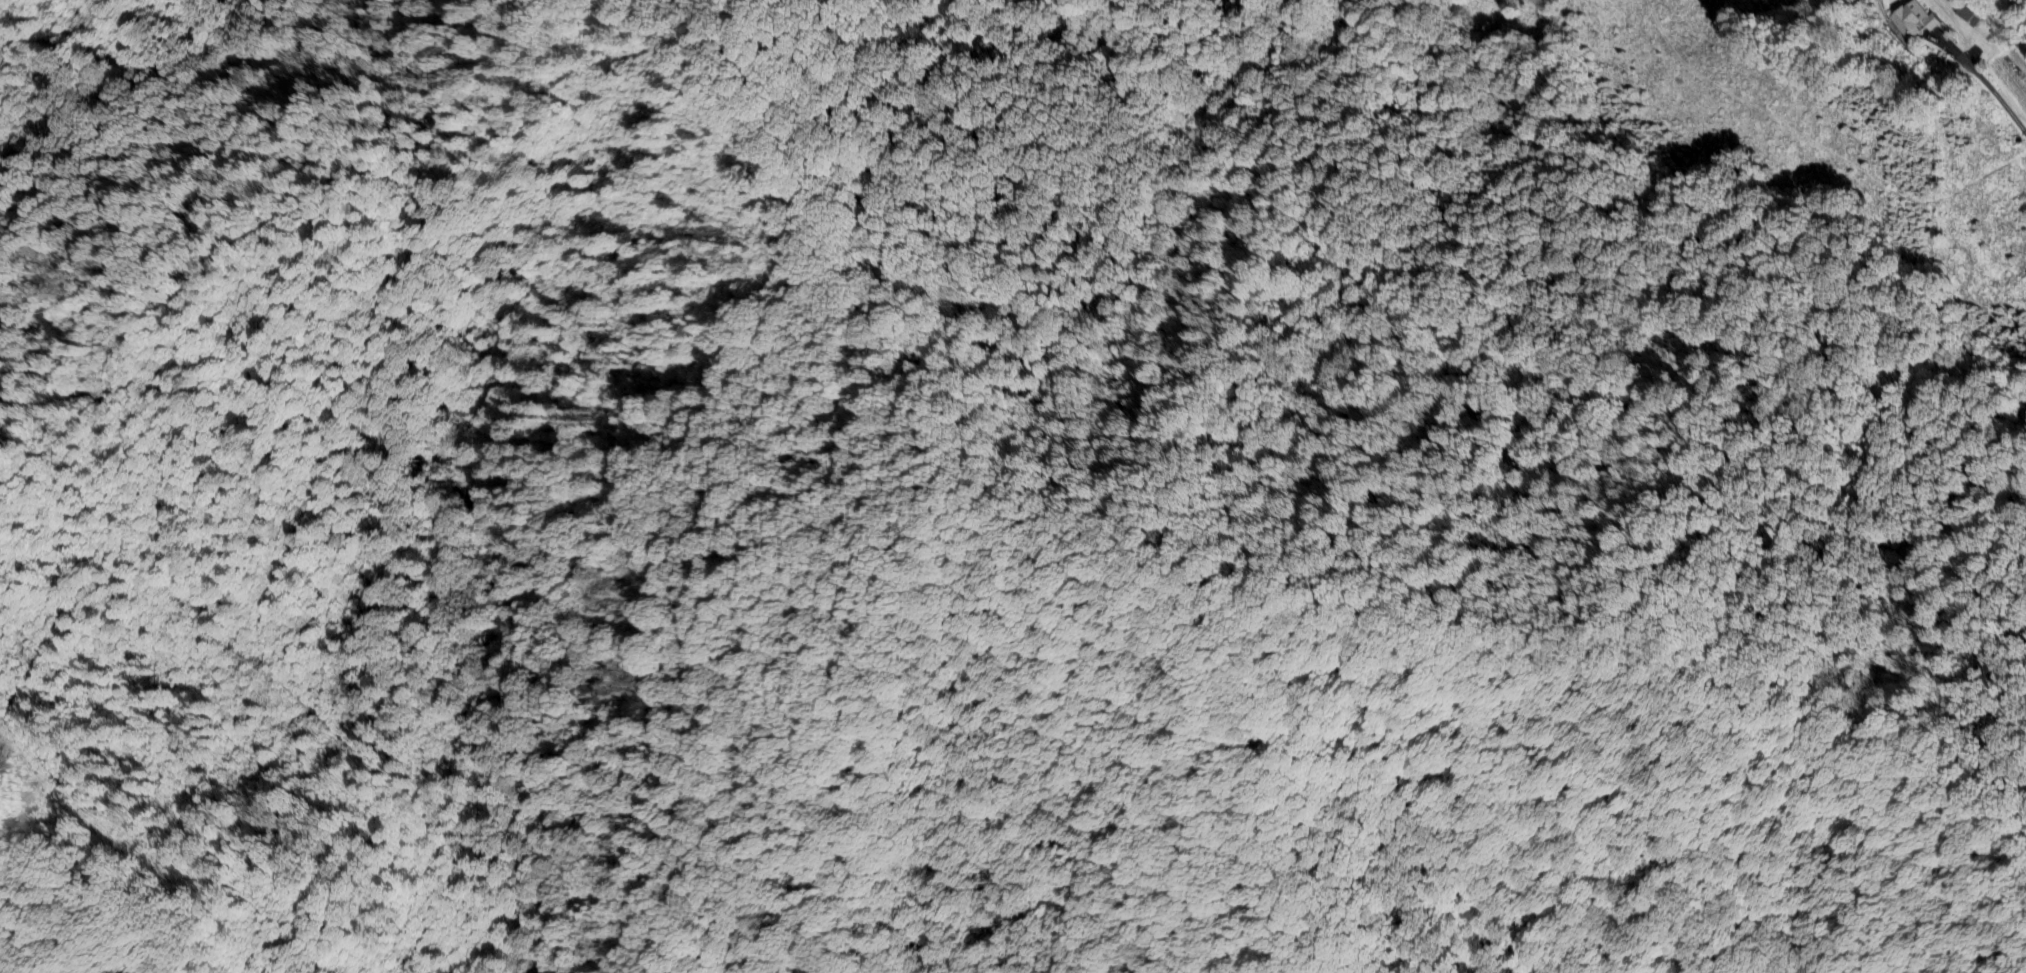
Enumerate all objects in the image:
building: (1905, 22)

